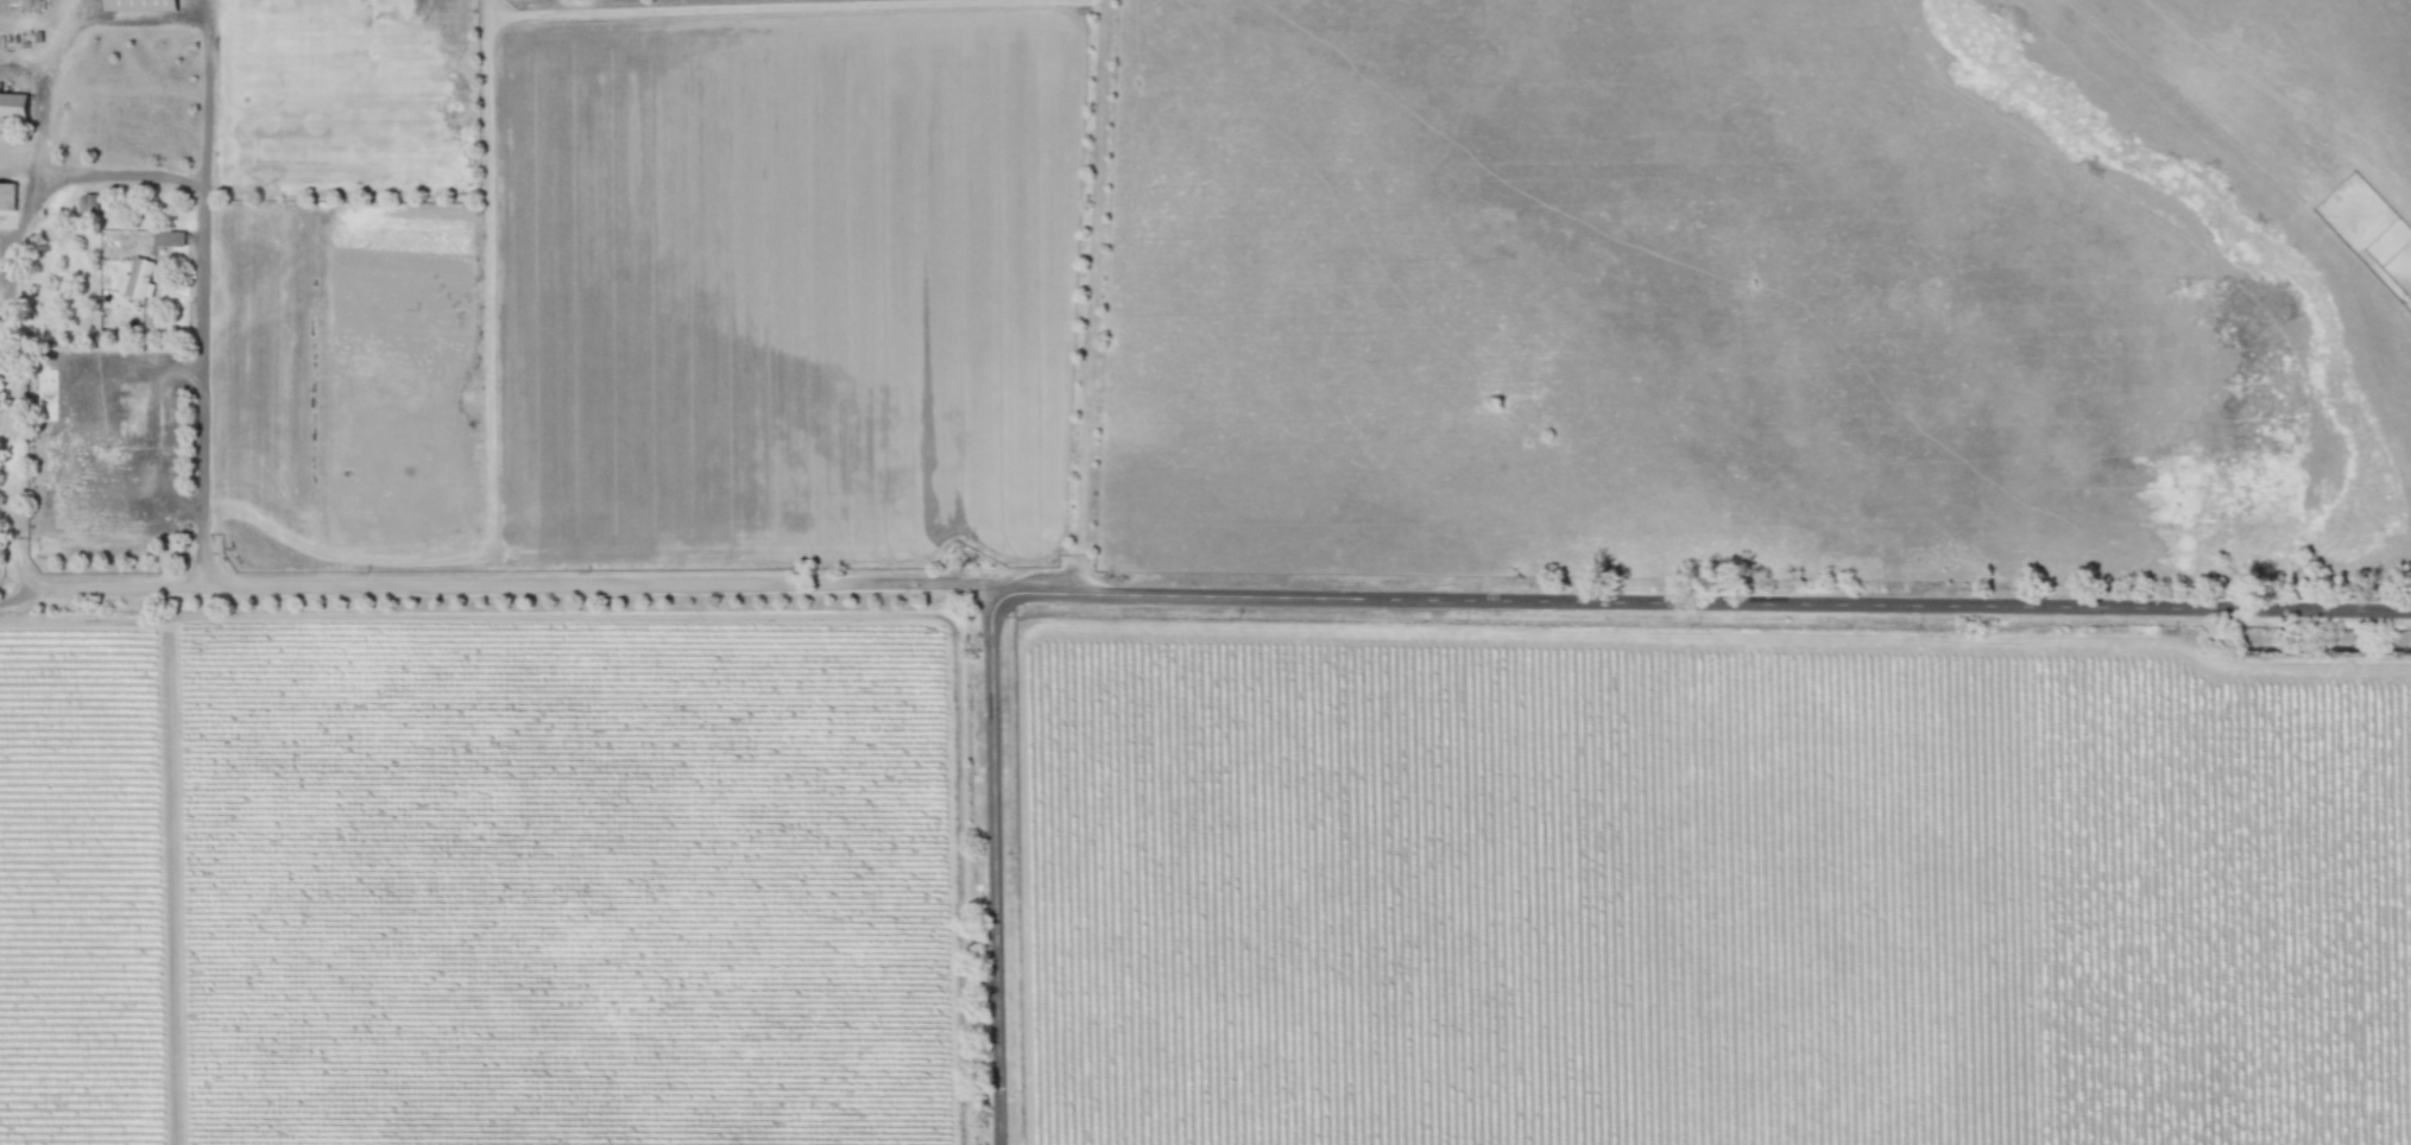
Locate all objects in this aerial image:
building: (119, 4)
building: (165, 4)
building: (13, 105)
road: (103, 173)
building: (7, 195)
building: (87, 201)
road: (204, 240)
building: (138, 277)
road: (146, 437)
road: (8, 439)
crop: (1205, 572)
road: (497, 582)
road: (1702, 602)
road: (557, 613)
road: (997, 869)

